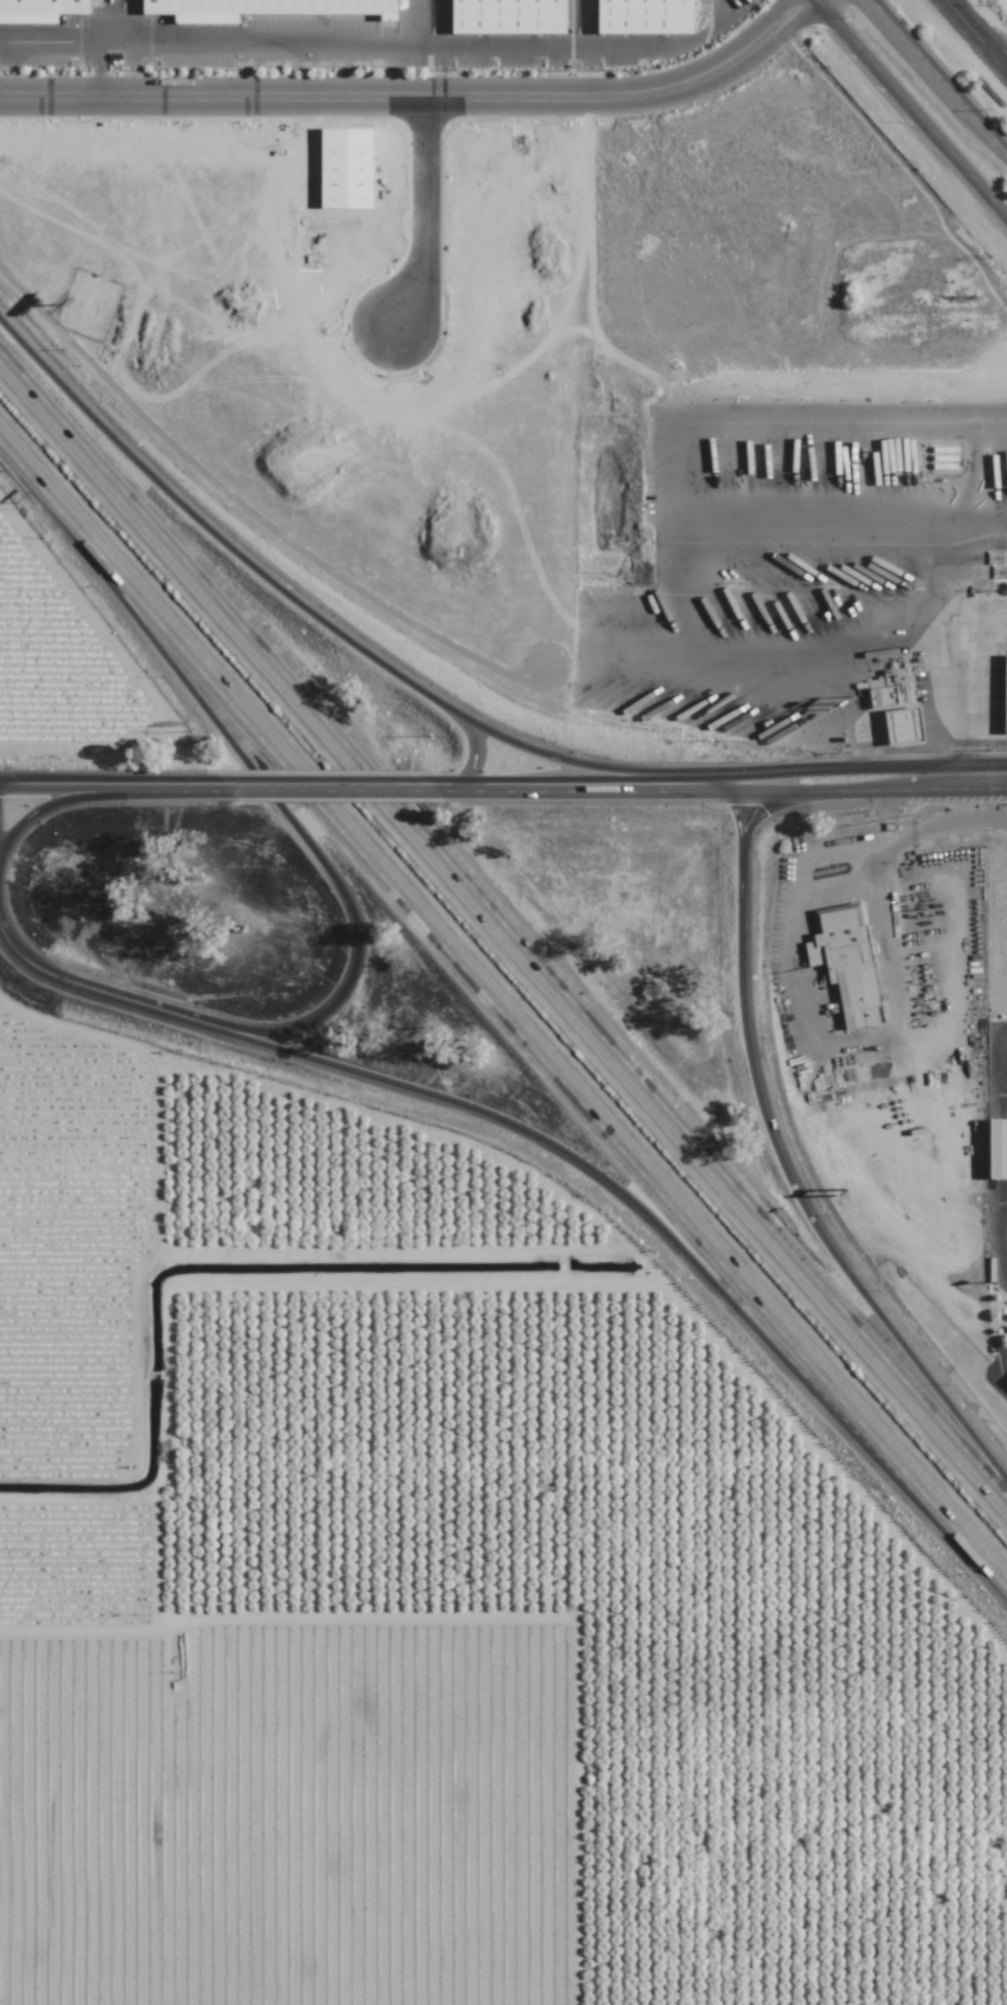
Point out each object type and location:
building: (261, 8)
road: (725, 8)
building: (39, 10)
building: (506, 16)
building: (643, 16)
road: (426, 27)
road: (738, 29)
railway: (979, 31)
railway: (972, 39)
road: (664, 46)
road: (513, 51)
road: (260, 52)
road: (47, 53)
road: (95, 57)
road: (590, 70)
road: (553, 71)
road: (437, 72)
road: (235, 73)
road: (386, 73)
road: (345, 74)
road: (938, 77)
road: (413, 94)
road: (910, 109)
road: (841, 517)
road: (215, 535)
road: (647, 594)
building: (1005, 688)
road: (949, 699)
building: (893, 705)
road: (469, 750)
road: (571, 764)
road: (857, 767)
road: (78, 782)
road: (190, 783)
road: (329, 783)
road: (575, 783)
road: (705, 783)
road: (442, 784)
road: (857, 790)
road: (71, 797)
road: (768, 808)
road: (294, 826)
road: (884, 849)
road: (739, 909)
road: (503, 920)
building: (846, 963)
road: (27, 964)
road: (502, 1012)
road: (1001, 1045)
road: (272, 1048)
building: (997, 1148)
road: (708, 1278)
road: (856, 1281)
road: (998, 1379)

